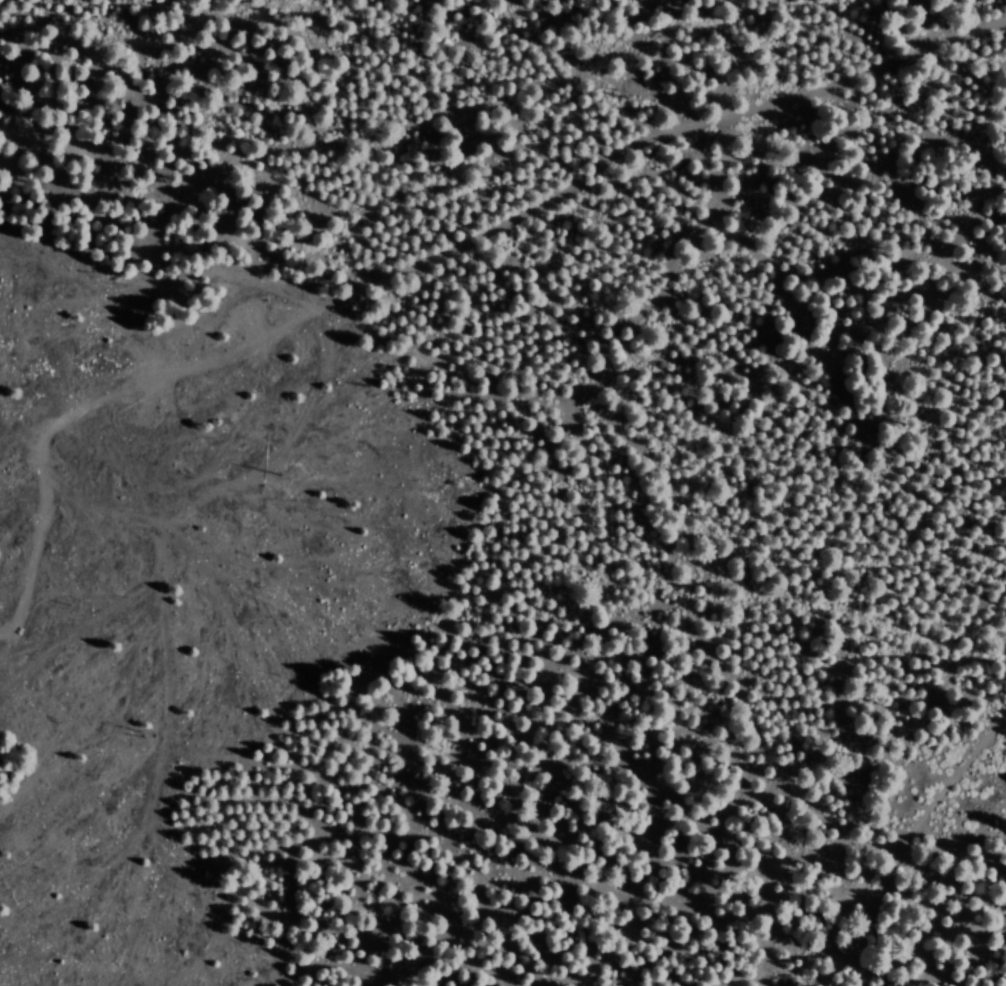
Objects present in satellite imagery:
road: (437, 274)
road: (898, 855)

